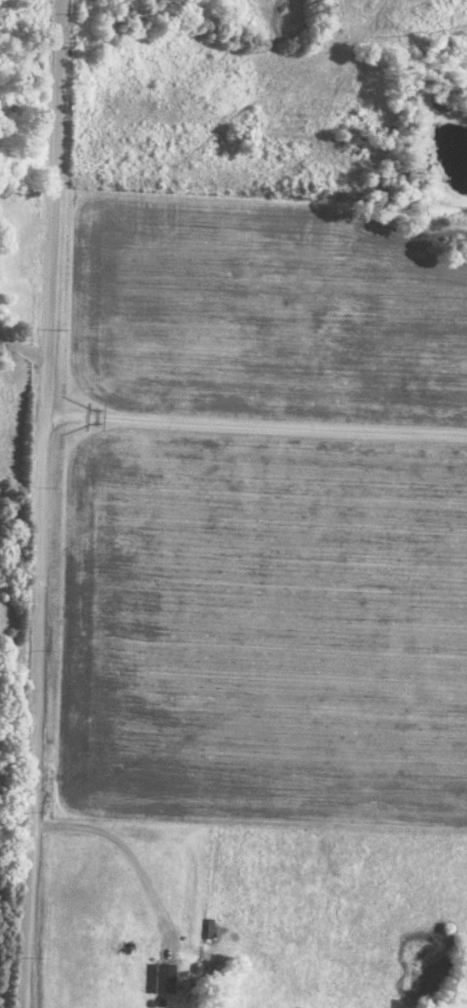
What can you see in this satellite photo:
road: (25, 349)
road: (48, 504)
road: (128, 853)

